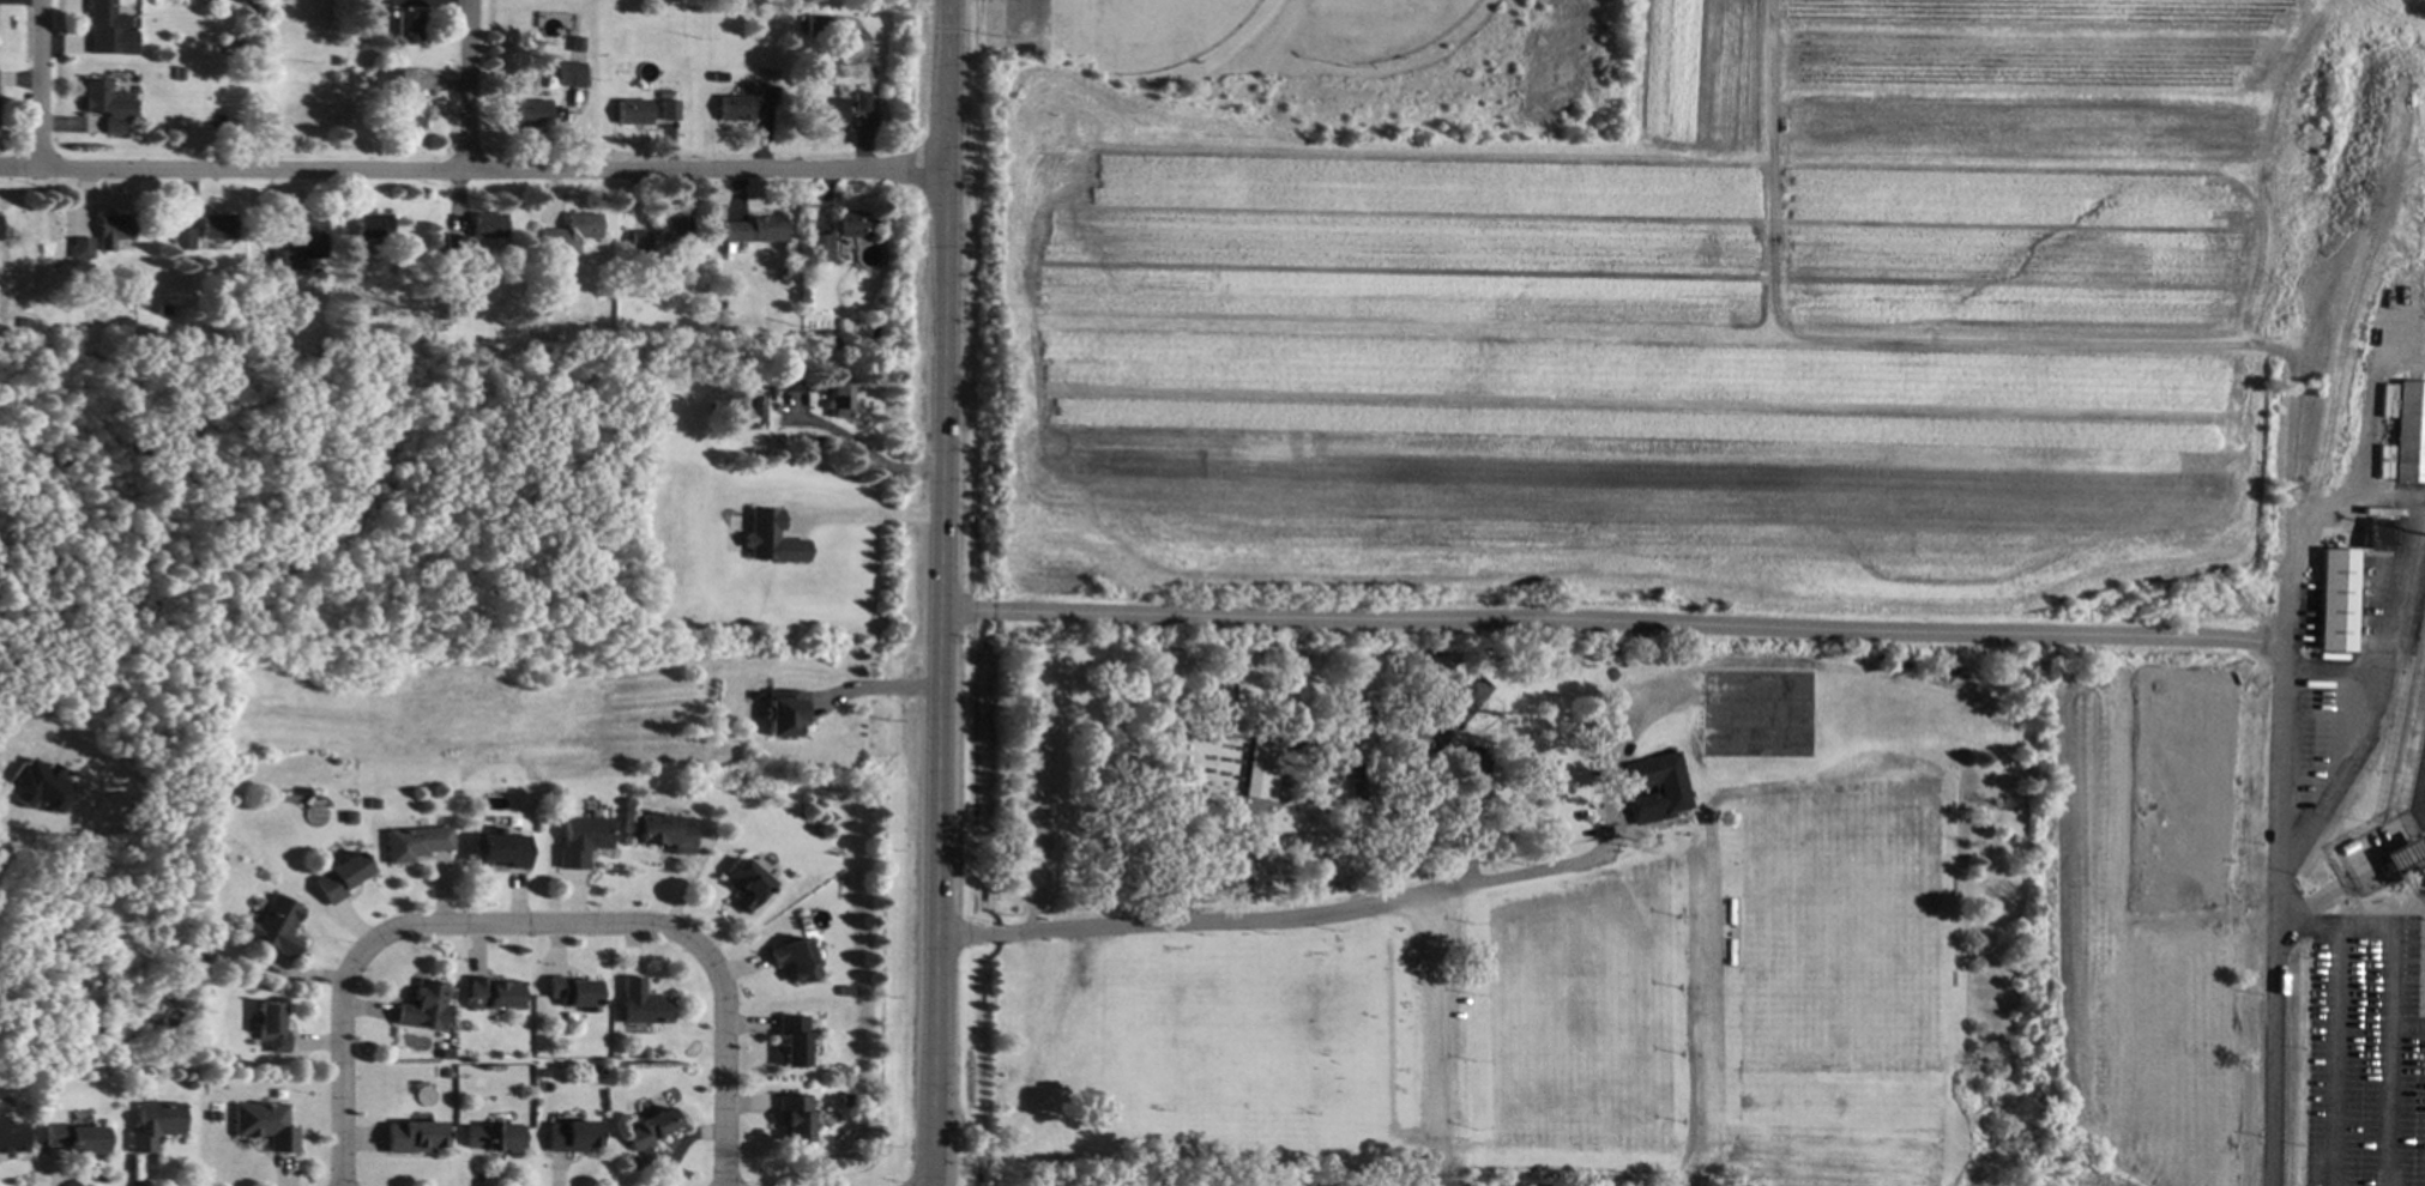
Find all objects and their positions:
building: (209, 1)
building: (801, 7)
building: (380, 8)
road: (1023, 12)
building: (821, 25)
building: (409, 26)
park: (1393, 26)
building: (109, 29)
park: (1162, 32)
building: (579, 49)
building: (572, 72)
building: (176, 73)
building: (388, 78)
road: (40, 85)
road: (469, 86)
building: (863, 86)
building: (664, 95)
building: (768, 95)
building: (862, 102)
building: (107, 104)
building: (735, 108)
building: (409, 109)
building: (669, 110)
building: (830, 110)
building: (633, 111)
building: (532, 113)
road: (471, 173)
building: (855, 224)
building: (488, 225)
building: (216, 226)
building: (375, 226)
building: (674, 229)
building: (111, 230)
building: (754, 230)
building: (569, 234)
building: (307, 236)
building: (183, 238)
building: (640, 241)
building: (819, 247)
building: (80, 248)
building: (454, 248)
building: (726, 248)
building: (279, 260)
building: (355, 271)
crop: (1695, 321)
building: (832, 343)
building: (790, 381)
building: (837, 395)
building: (2408, 431)
road: (858, 449)
road: (2347, 482)
road: (2383, 494)
road: (864, 514)
building: (2378, 534)
building: (768, 538)
road: (2412, 543)
road: (940, 592)
building: (2335, 599)
road: (1736, 623)
building: (1610, 654)
road: (2332, 667)
road: (870, 688)
building: (1460, 698)
building: (782, 712)
building: (1277, 726)
building: (1471, 758)
building: (1399, 769)
building: (1260, 770)
building: (31, 783)
building: (1356, 783)
building: (1671, 787)
building: (218, 804)
building: (663, 831)
building: (581, 840)
building: (415, 843)
building: (502, 849)
building: (2420, 869)
building: (1235, 870)
road: (2286, 873)
building: (340, 877)
building: (746, 885)
park: (1484, 908)
road: (1257, 922)
building: (276, 926)
road: (537, 926)
building: (792, 958)
building: (845, 991)
building: (572, 992)
building: (490, 994)
road: (2383, 1002)
building: (641, 1004)
building: (423, 1006)
road: (2403, 1027)
building: (270, 1028)
building: (792, 1040)
building: (640, 1053)
building: (444, 1054)
road: (2333, 1054)
building: (222, 1057)
building: (445, 1073)
building: (543, 1073)
building: (845, 1100)
building: (213, 1115)
building: (794, 1118)
building: (628, 1124)
building: (153, 1125)
building: (265, 1125)
building: (651, 1128)
building: (12, 1136)
building: (572, 1136)
building: (414, 1137)
building: (494, 1137)
building: (76, 1138)

